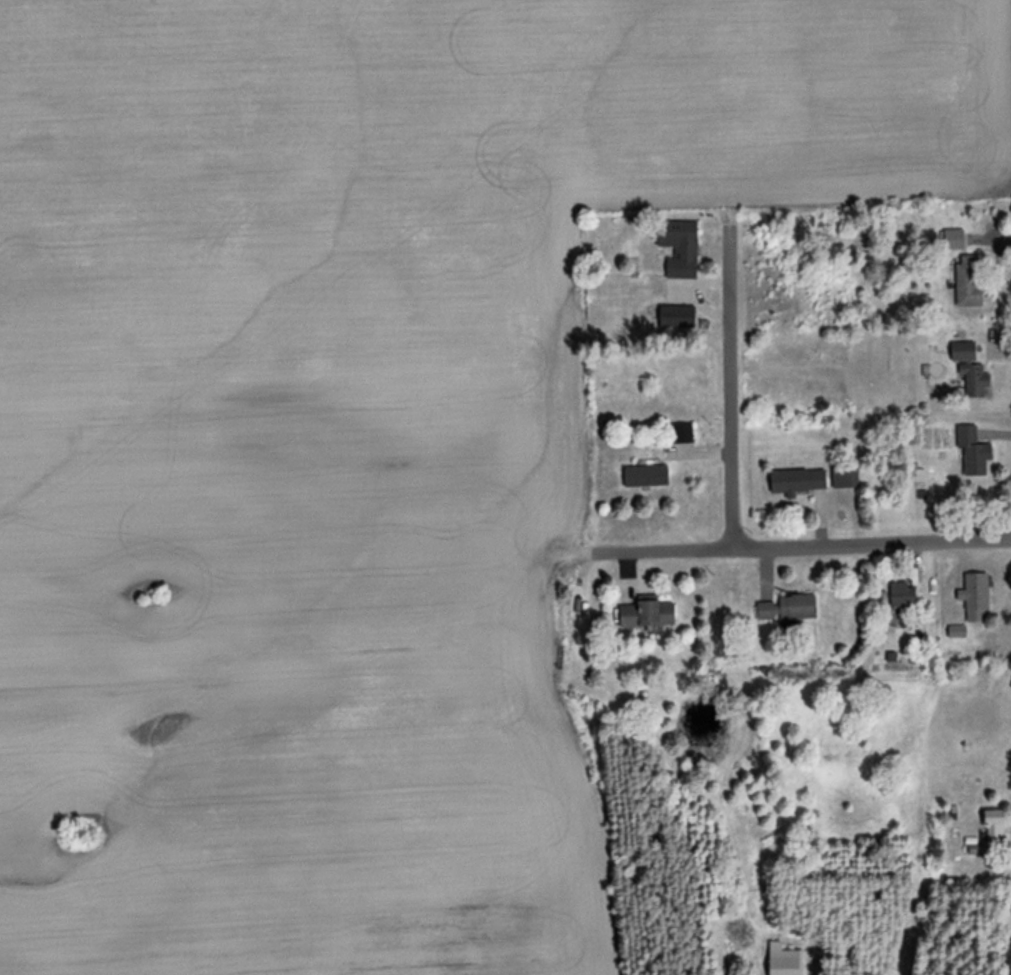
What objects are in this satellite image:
building: (954, 240)
building: (681, 248)
building: (970, 281)
building: (972, 371)
road: (727, 390)
building: (684, 434)
building: (974, 451)
building: (648, 477)
building: (847, 479)
building: (800, 482)
road: (781, 546)
building: (904, 595)
building: (977, 597)
building: (789, 609)
building: (650, 615)
building: (995, 826)
building: (785, 961)

